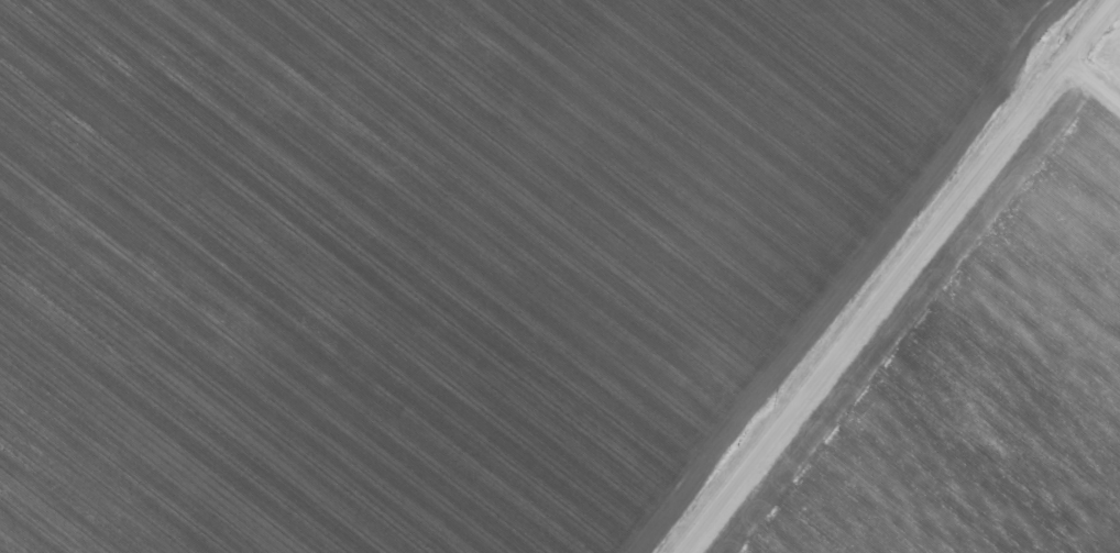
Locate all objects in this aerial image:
road: (1095, 76)
road: (899, 276)

